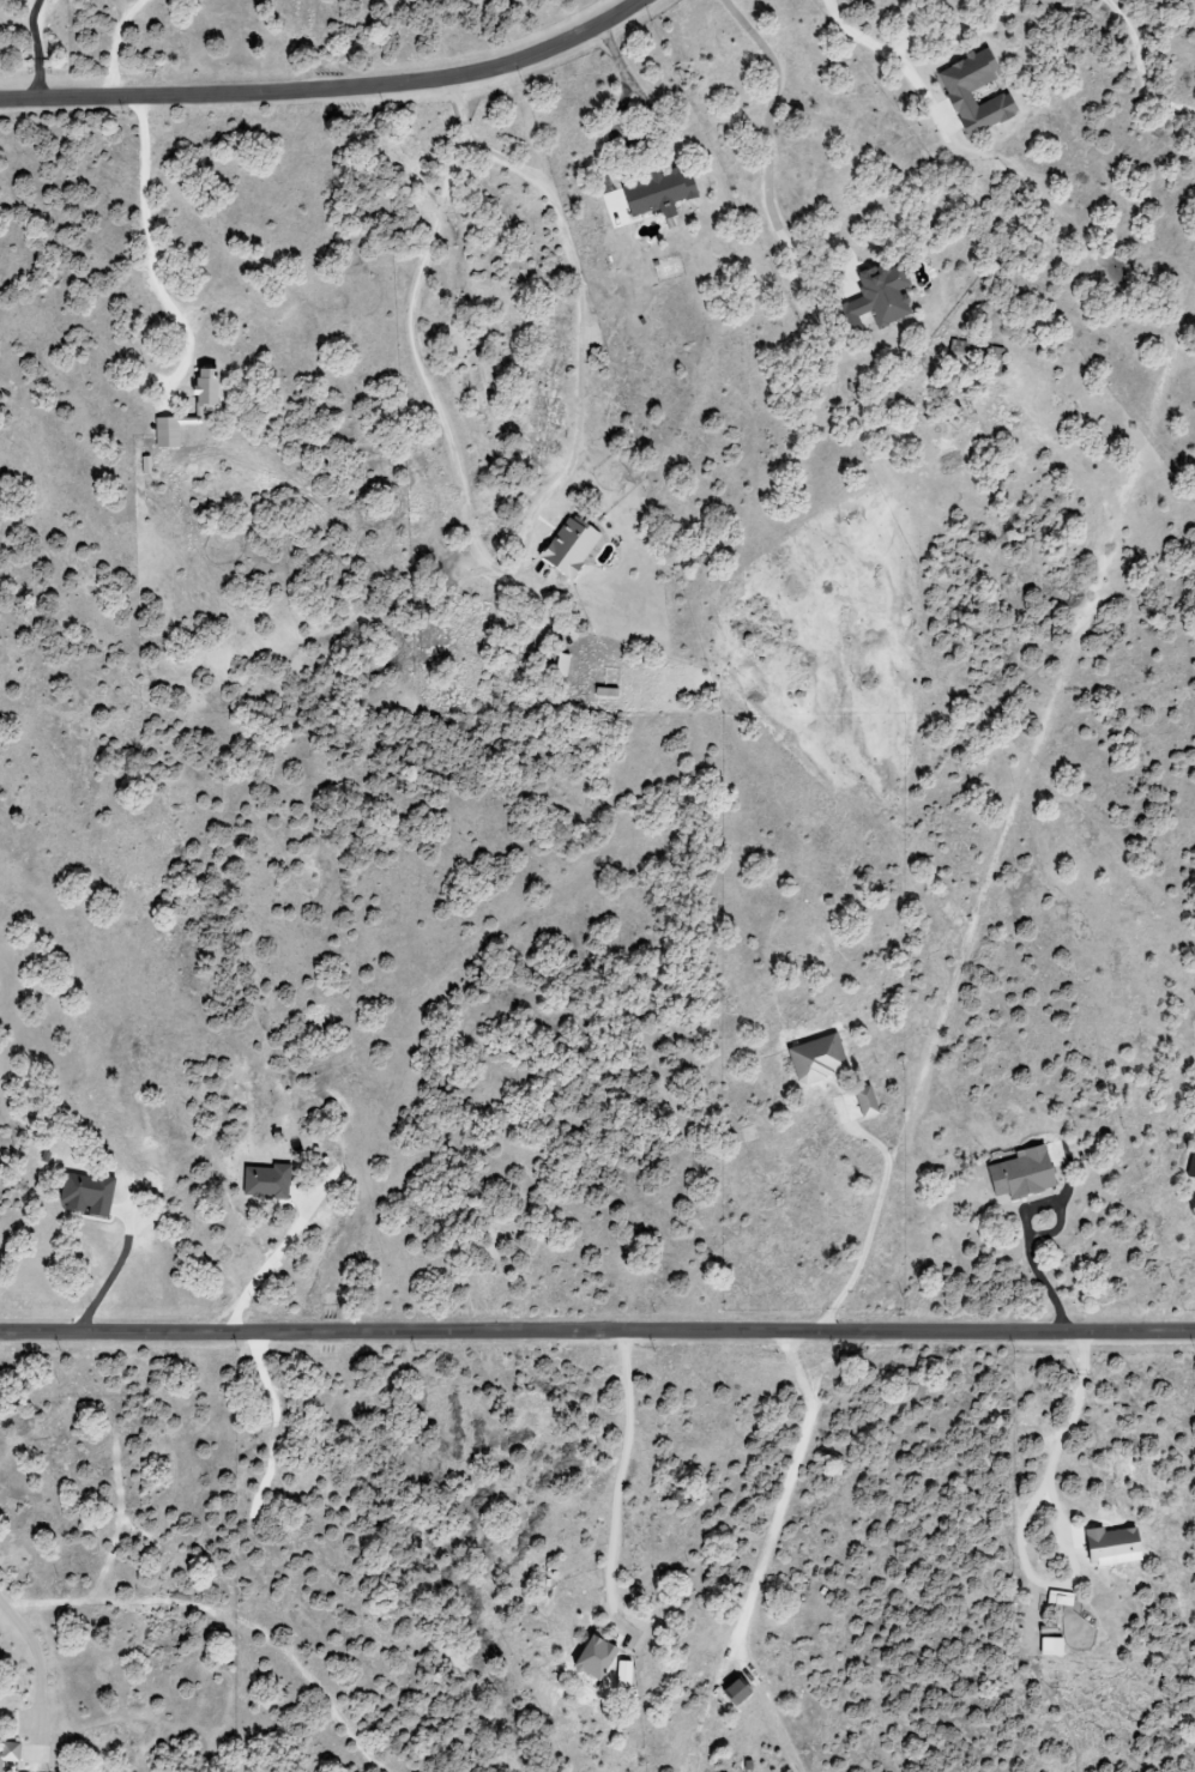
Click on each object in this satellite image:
road: (116, 46)
road: (35, 49)
road: (887, 54)
road: (328, 91)
building: (956, 98)
road: (622, 107)
road: (769, 115)
building: (664, 193)
road: (147, 235)
road: (845, 278)
building: (885, 294)
road: (580, 316)
building: (964, 349)
building: (200, 410)
building: (149, 465)
building: (573, 545)
building: (609, 693)
building: (821, 1059)
building: (869, 1102)
building: (1191, 1167)
building: (1025, 1174)
building: (270, 1183)
building: (89, 1195)
road: (873, 1224)
road: (1027, 1229)
road: (110, 1281)
road: (253, 1281)
road: (597, 1333)
road: (621, 1477)
road: (787, 1487)
building: (1117, 1546)
building: (1062, 1598)
building: (1055, 1646)
building: (600, 1657)
road: (41, 1674)
building: (627, 1674)
building: (742, 1692)
building: (11, 1754)

